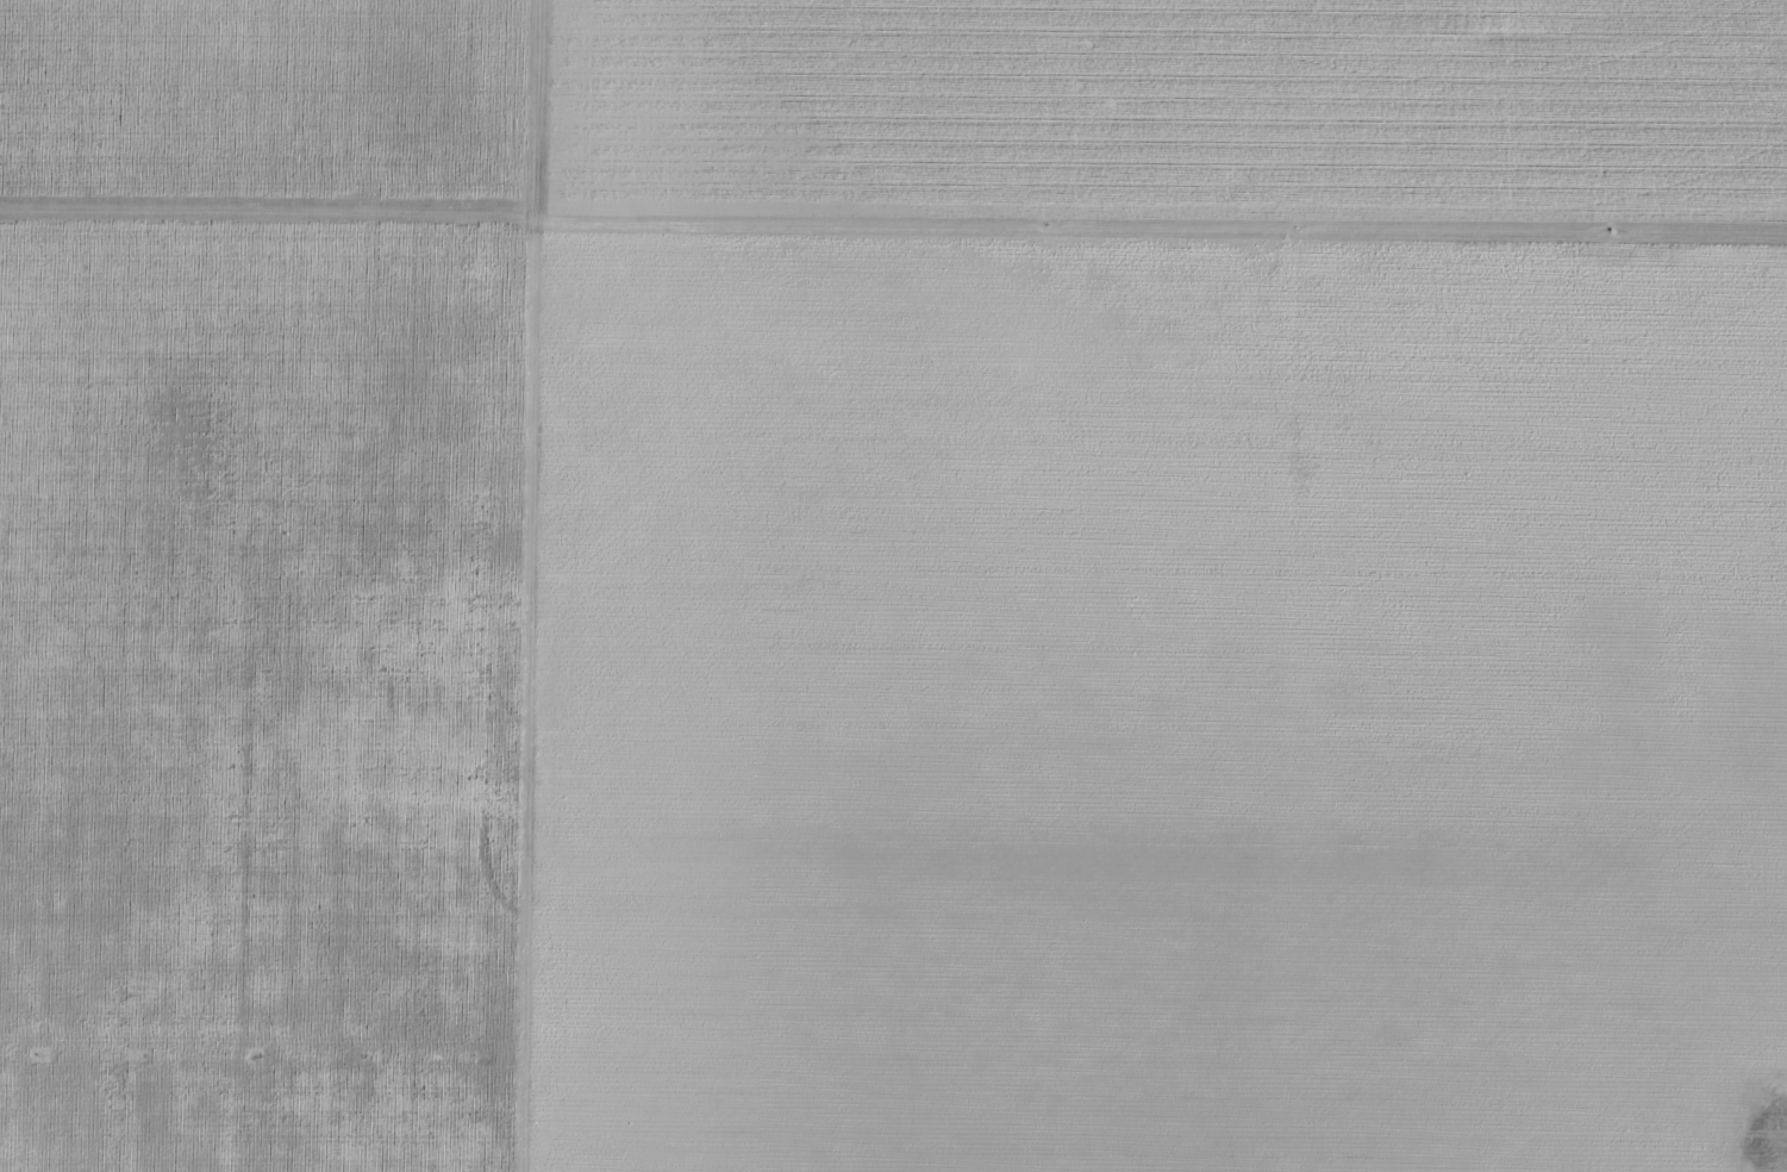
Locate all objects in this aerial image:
road: (893, 219)
road: (560, 586)

